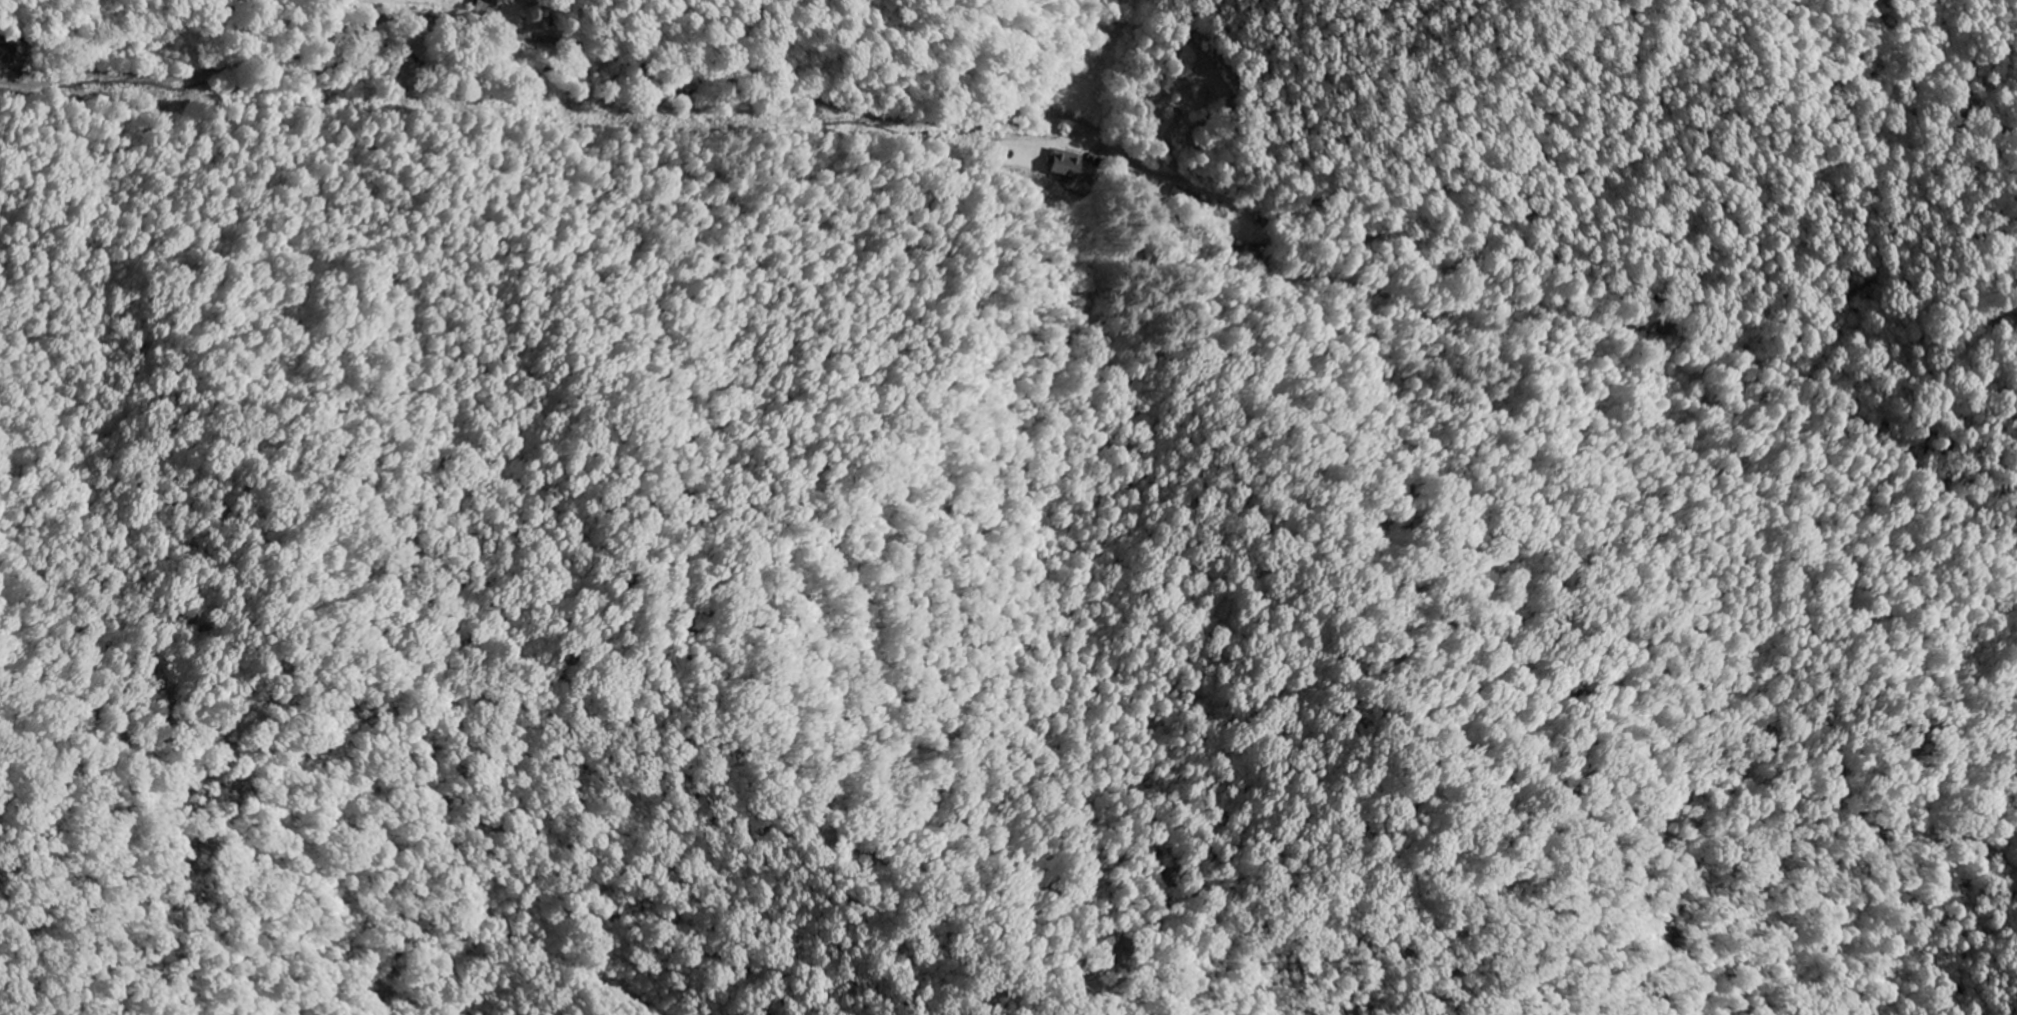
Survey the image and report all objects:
road: (548, 36)
building: (9, 54)
building: (1066, 165)

